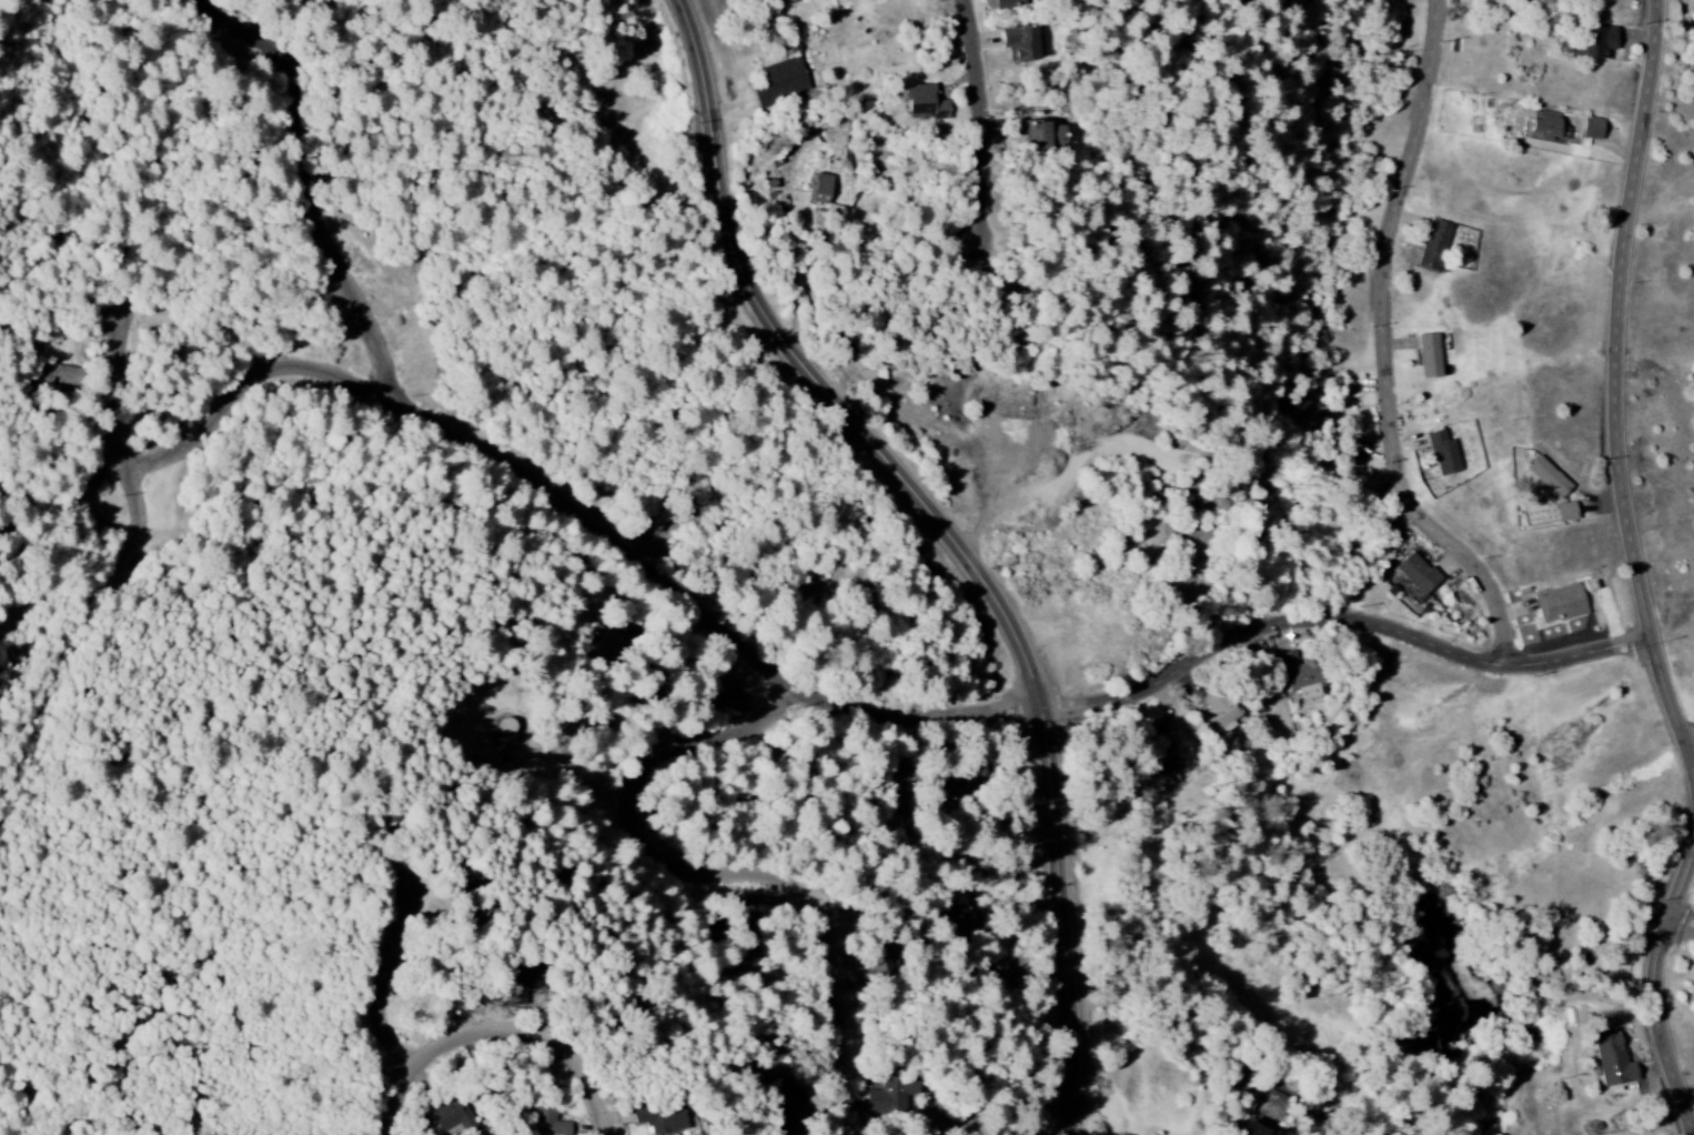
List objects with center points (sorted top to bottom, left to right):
building: (1008, 4)
building: (1692, 10)
building: (1597, 43)
building: (1021, 44)
building: (780, 82)
building: (924, 104)
road: (991, 127)
building: (1546, 128)
building: (1592, 129)
building: (1041, 134)
building: (821, 189)
road: (323, 190)
building: (1434, 245)
road: (1389, 348)
building: (1429, 355)
building: (61, 376)
road: (125, 379)
road: (1619, 379)
building: (1294, 406)
building: (1444, 454)
building: (1549, 478)
building: (1566, 512)
building: (651, 530)
road: (961, 539)
road: (57, 558)
building: (1418, 574)
building: (1560, 604)
building: (1299, 675)
building: (718, 694)
road: (847, 705)
building: (1218, 713)
road: (1693, 742)
building: (1163, 759)
building: (895, 779)
building: (948, 786)
road: (728, 873)
road: (1685, 921)
building: (942, 923)
building: (986, 971)
road: (396, 983)
building: (525, 984)
road: (1658, 998)
road: (506, 1028)
building: (1613, 1059)
building: (889, 1095)
building: (448, 1117)
building: (544, 1119)
building: (662, 1119)
building: (782, 1122)
building: (565, 1128)
building: (1259, 1129)

